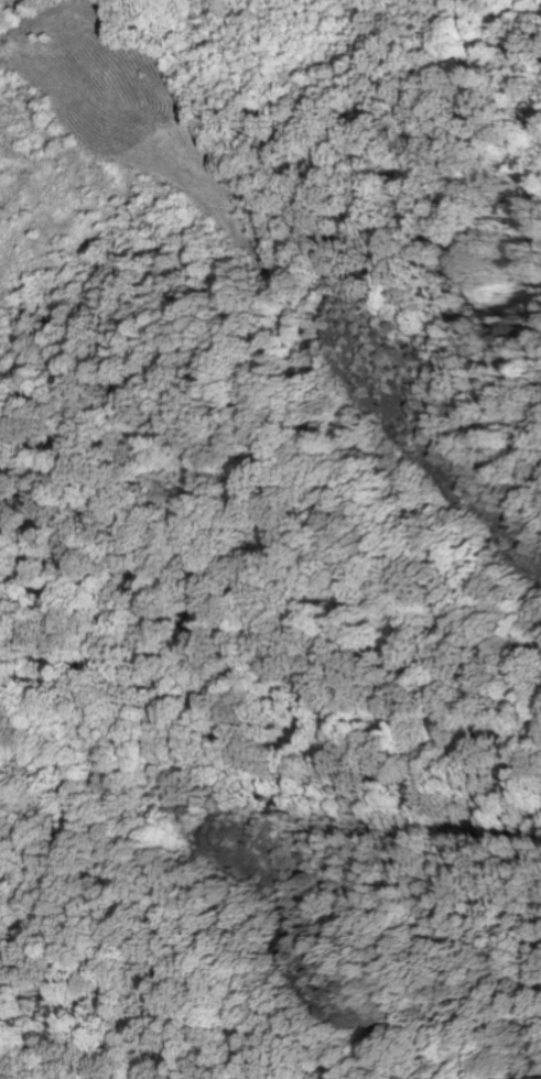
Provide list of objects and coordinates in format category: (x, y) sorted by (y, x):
road: (210, 208)
road: (415, 350)
road: (208, 559)
road: (410, 566)
road: (33, 758)
road: (302, 804)
road: (404, 918)
road: (198, 978)

